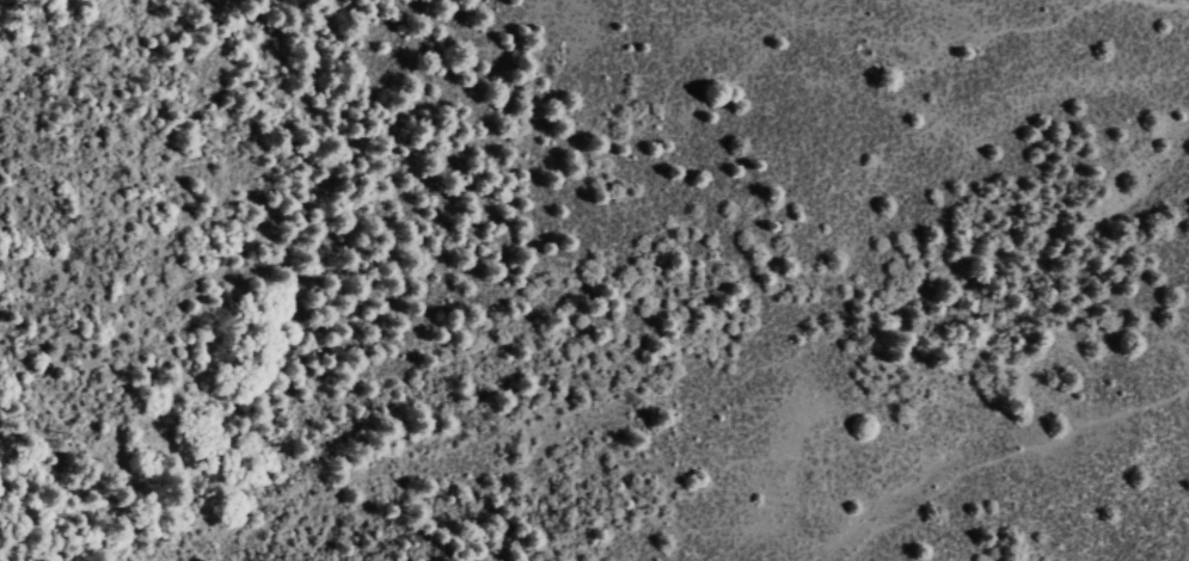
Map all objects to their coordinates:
crop: (1184, 313)

